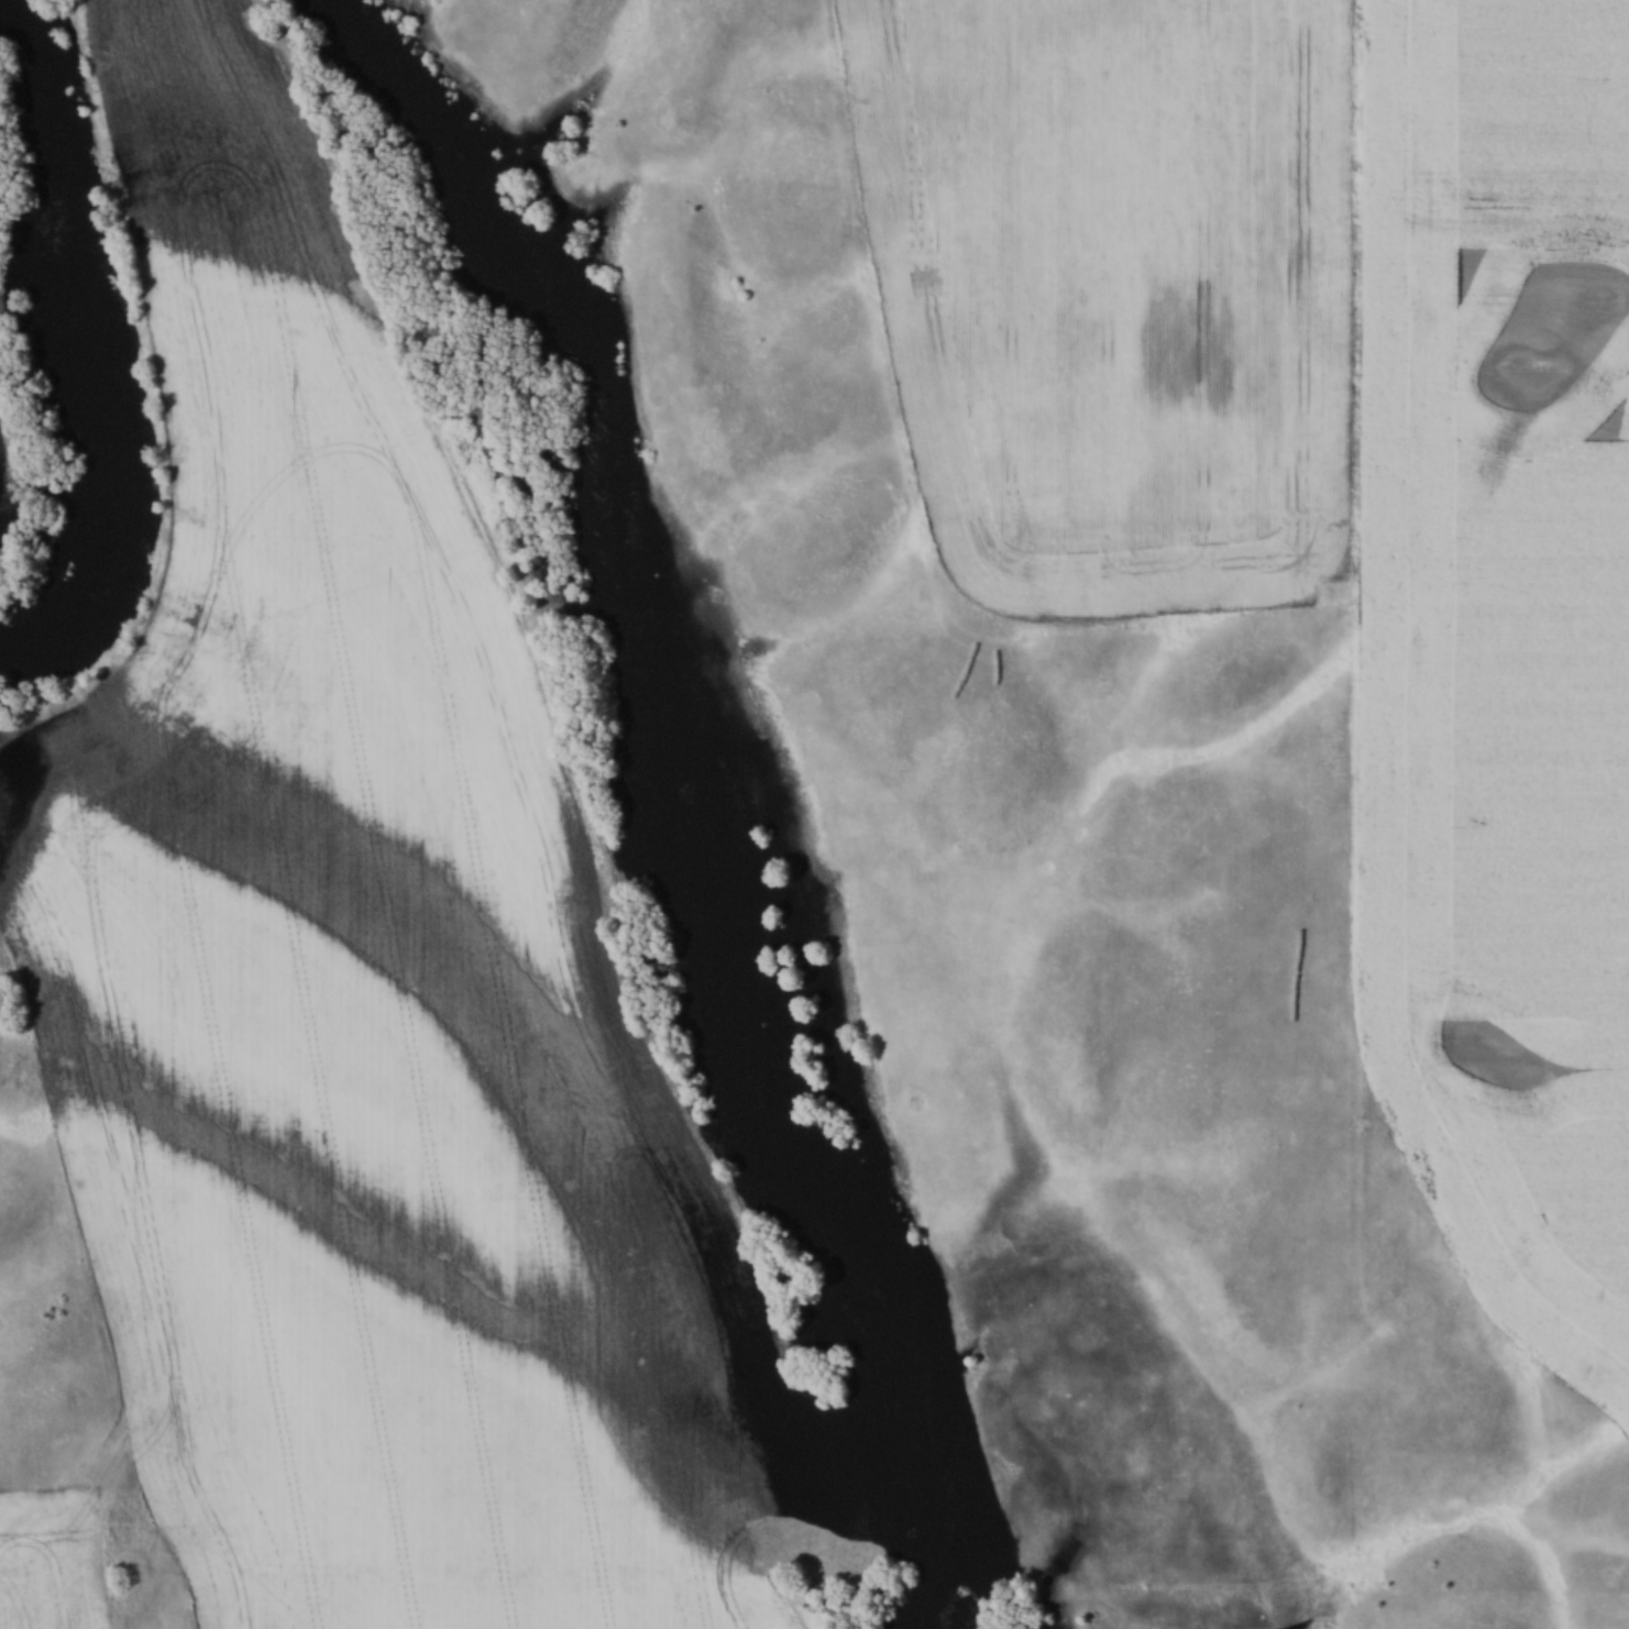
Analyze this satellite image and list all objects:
river: (95, 357)
river: (649, 804)

